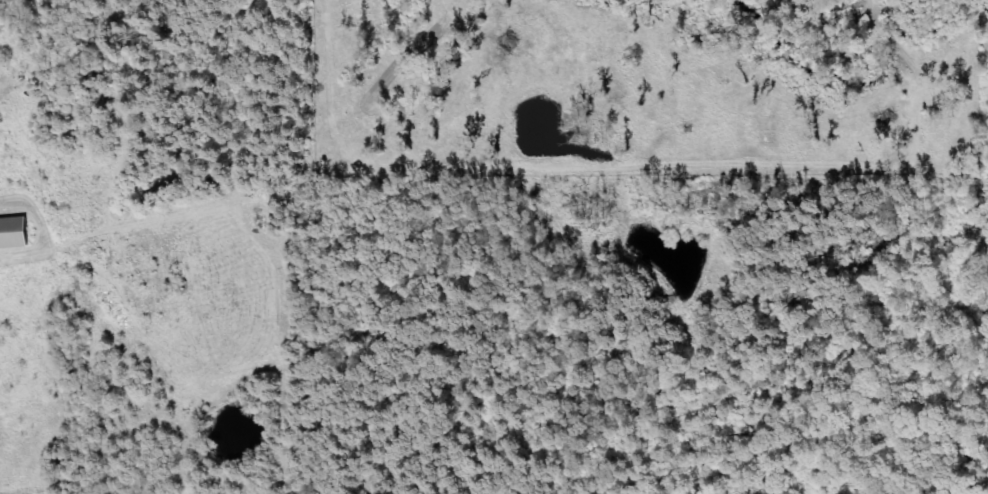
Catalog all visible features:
building: (16, 233)

